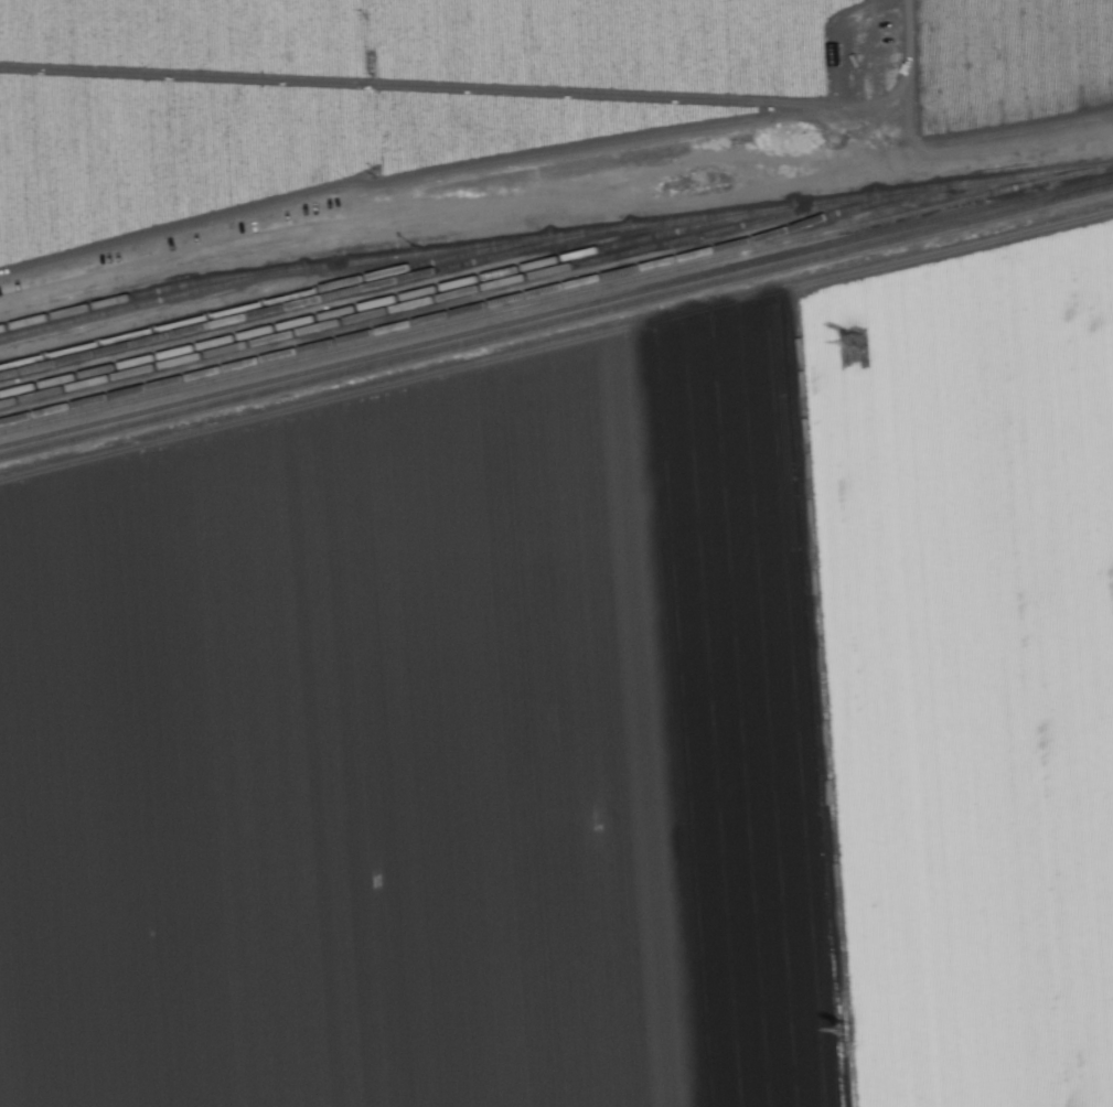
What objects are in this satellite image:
crop: (464, 93)
railway: (259, 275)
railway: (379, 286)
railway: (556, 289)
railway: (425, 294)
railway: (459, 294)
railway: (132, 295)
railway: (299, 295)
railway: (556, 297)
railway: (556, 312)
railway: (556, 322)
power tower: (859, 343)
crop: (589, 720)
power tower: (846, 1031)

